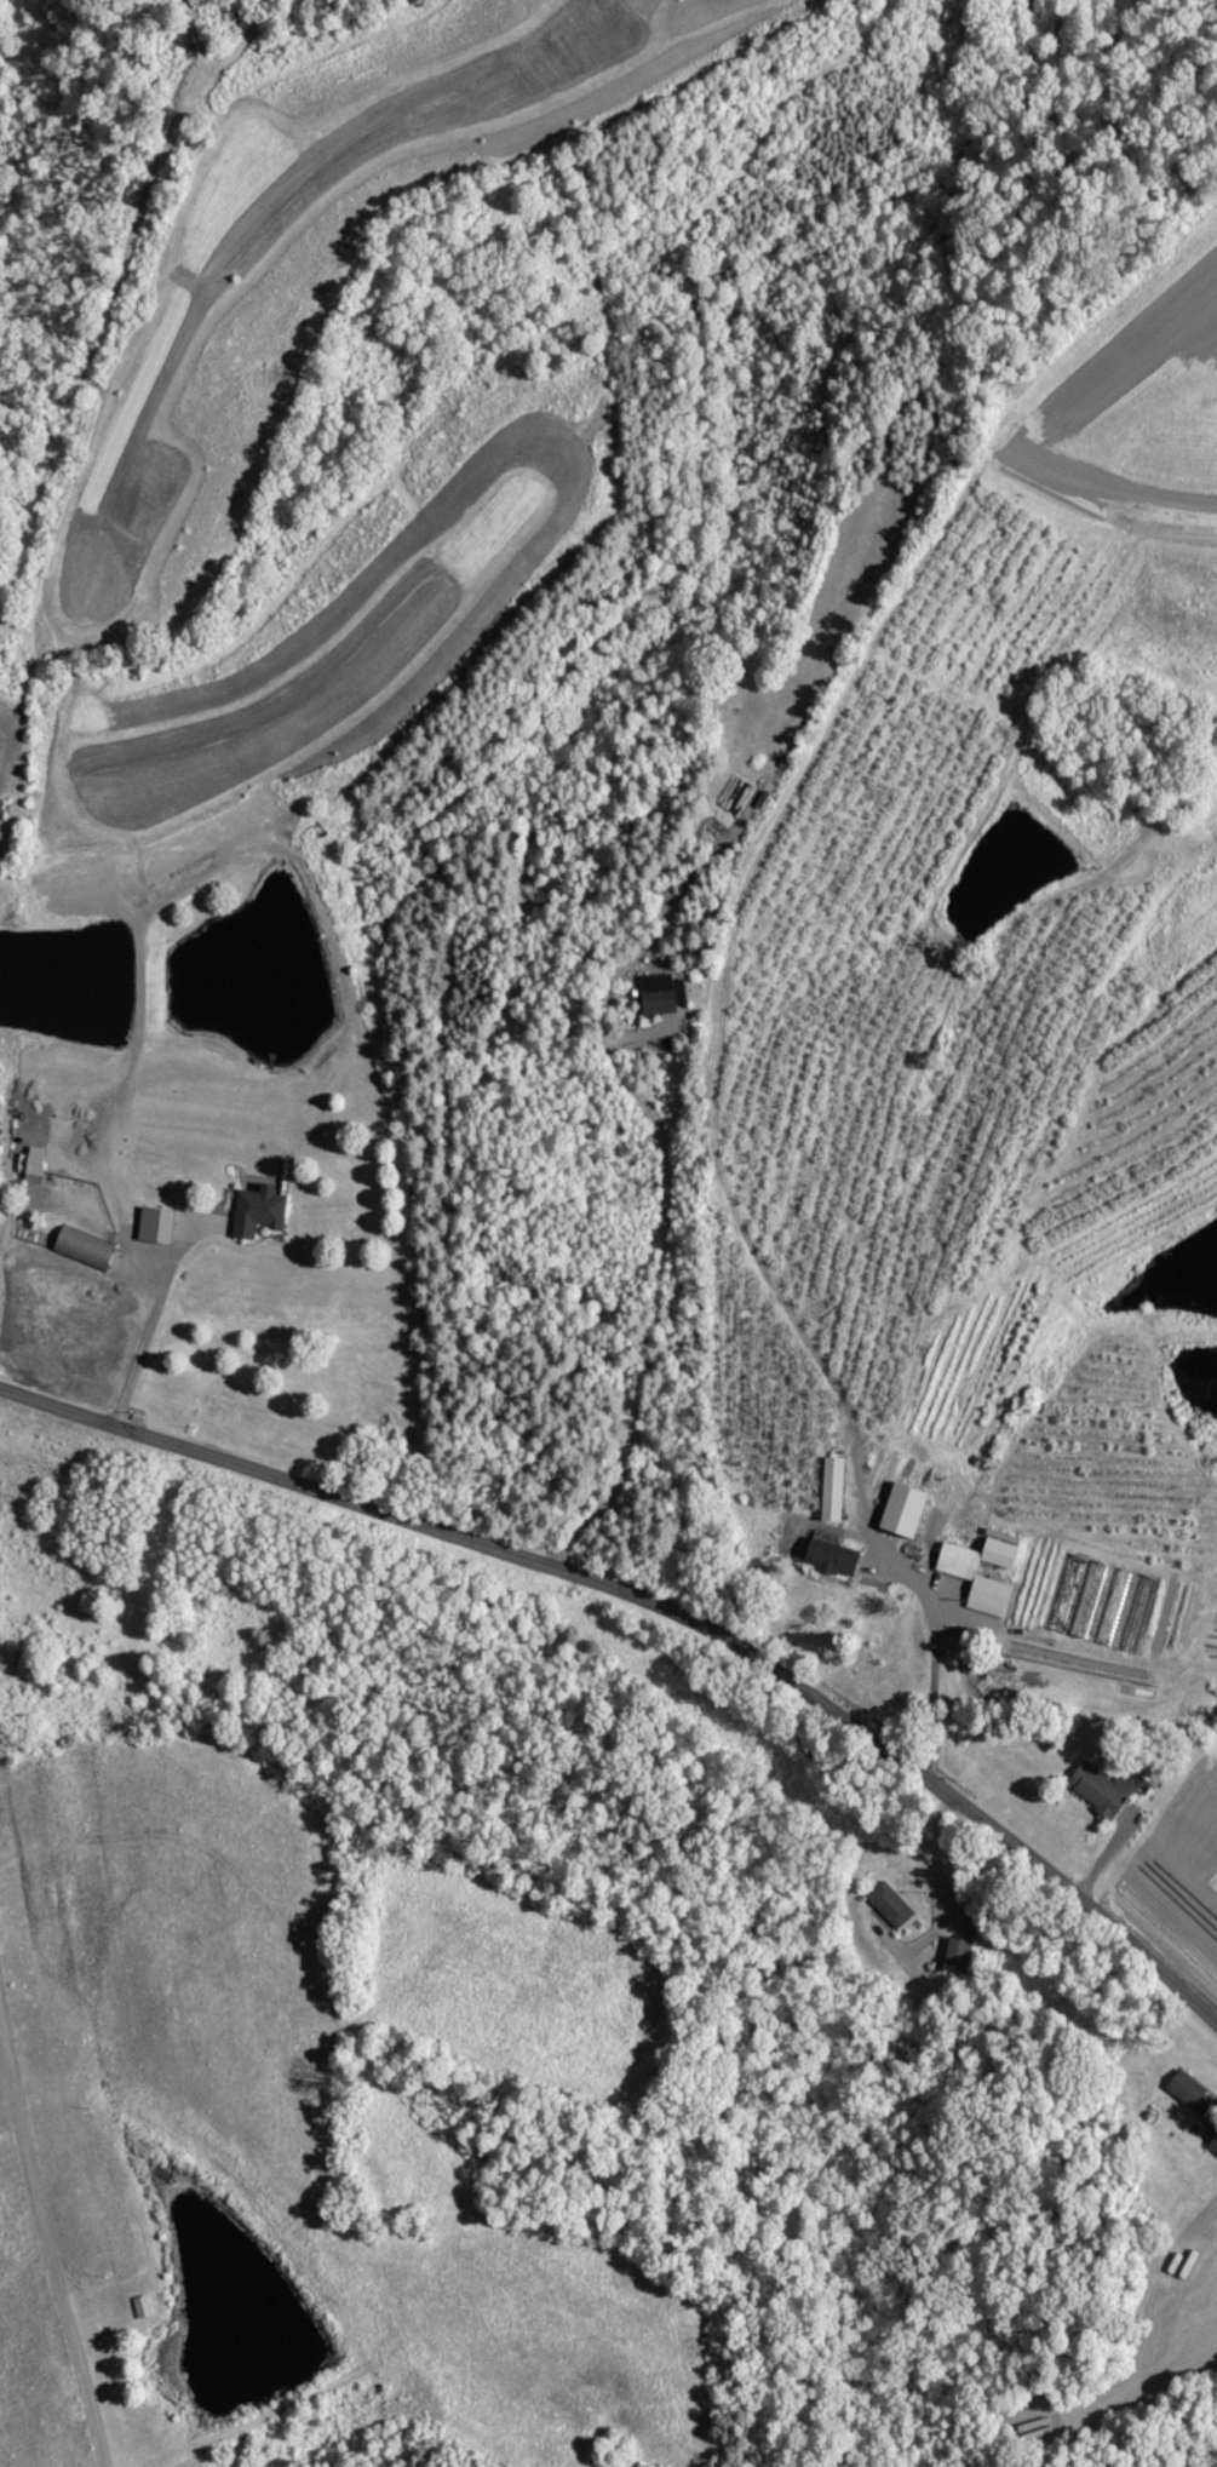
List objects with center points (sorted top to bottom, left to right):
building: (665, 992)
building: (38, 1164)
building: (262, 1209)
building: (159, 1223)
building: (87, 1247)
road: (659, 1291)
road: (140, 1338)
building: (836, 1488)
building: (908, 1509)
building: (836, 1556)
building: (964, 1572)
road: (656, 1611)
road: (937, 1642)
building: (1103, 1789)
building: (891, 1904)
building: (959, 1955)
building: (1193, 2092)
building: (1215, 2145)
road: (47, 2256)
building: (145, 2306)

